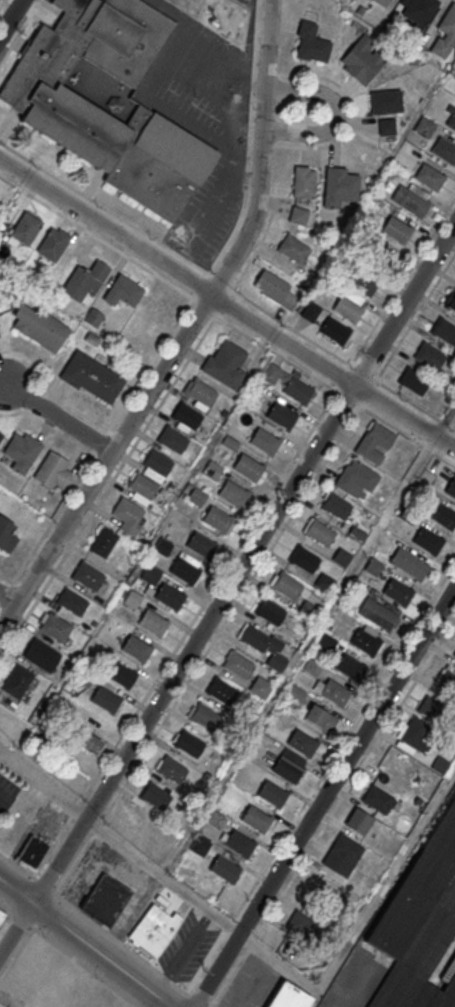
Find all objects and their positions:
building: (381, 2)
building: (418, 10)
road: (10, 17)
road: (20, 32)
building: (445, 32)
building: (311, 43)
building: (363, 59)
road: (164, 63)
road: (243, 88)
building: (108, 100)
building: (386, 102)
road: (337, 114)
building: (450, 119)
building: (386, 127)
building: (424, 127)
building: (444, 150)
building: (429, 176)
building: (304, 181)
building: (339, 187)
road: (222, 192)
building: (411, 199)
building: (298, 215)
building: (26, 229)
building: (396, 229)
building: (53, 244)
building: (293, 248)
building: (85, 282)
building: (363, 282)
building: (276, 289)
building: (123, 291)
building: (450, 300)
building: (349, 305)
road: (405, 305)
road: (226, 306)
building: (310, 312)
building: (39, 326)
building: (444, 330)
building: (336, 331)
road: (186, 332)
building: (429, 355)
building: (226, 364)
building: (91, 376)
building: (414, 381)
building: (298, 389)
building: (200, 391)
building: (186, 415)
building: (281, 415)
road: (61, 417)
building: (245, 418)
road: (444, 418)
building: (1, 435)
building: (172, 439)
building: (265, 441)
building: (375, 442)
building: (22, 451)
building: (155, 464)
building: (248, 466)
building: (53, 470)
building: (212, 470)
building: (356, 479)
building: (142, 486)
building: (451, 488)
building: (232, 492)
building: (197, 497)
building: (336, 506)
building: (128, 515)
building: (442, 516)
building: (217, 519)
road: (45, 527)
building: (319, 533)
building: (6, 535)
building: (103, 542)
building: (428, 542)
building: (201, 544)
building: (341, 559)
building: (304, 560)
building: (410, 566)
building: (373, 568)
building: (185, 570)
building: (87, 575)
building: (150, 575)
road: (6, 578)
building: (324, 583)
building: (397, 592)
building: (169, 596)
road: (7, 599)
building: (132, 600)
building: (72, 601)
building: (379, 610)
building: (271, 613)
building: (153, 622)
building: (56, 626)
building: (366, 641)
building: (326, 642)
road: (194, 645)
building: (136, 647)
building: (265, 647)
building: (41, 654)
building: (454, 656)
building: (238, 666)
building: (350, 667)
building: (312, 668)
building: (121, 674)
building: (17, 680)
building: (446, 681)
building: (260, 688)
building: (334, 691)
building: (221, 692)
building: (295, 694)
building: (105, 699)
building: (429, 708)
building: (204, 717)
building: (318, 717)
building: (415, 735)
building: (302, 742)
building: (88, 743)
building: (188, 744)
building: (287, 769)
building: (171, 770)
road: (43, 784)
parking lot: (7, 792)
building: (272, 793)
building: (155, 797)
road: (324, 797)
building: (378, 800)
building: (256, 818)
building: (359, 821)
building: (240, 843)
building: (199, 846)
building: (32, 852)
building: (342, 855)
building: (224, 868)
road: (161, 876)
road: (388, 882)
building: (105, 899)
building: (2, 915)
road: (131, 915)
road: (5, 919)
building: (419, 923)
building: (301, 924)
road: (15, 928)
building: (153, 929)
road: (84, 943)
parking lot: (186, 949)
road: (183, 954)
road: (17, 955)
road: (75, 958)
road: (279, 964)
railway: (445, 971)
building: (64, 980)
parking lot: (251, 984)
building: (288, 997)
road: (6, 1002)

